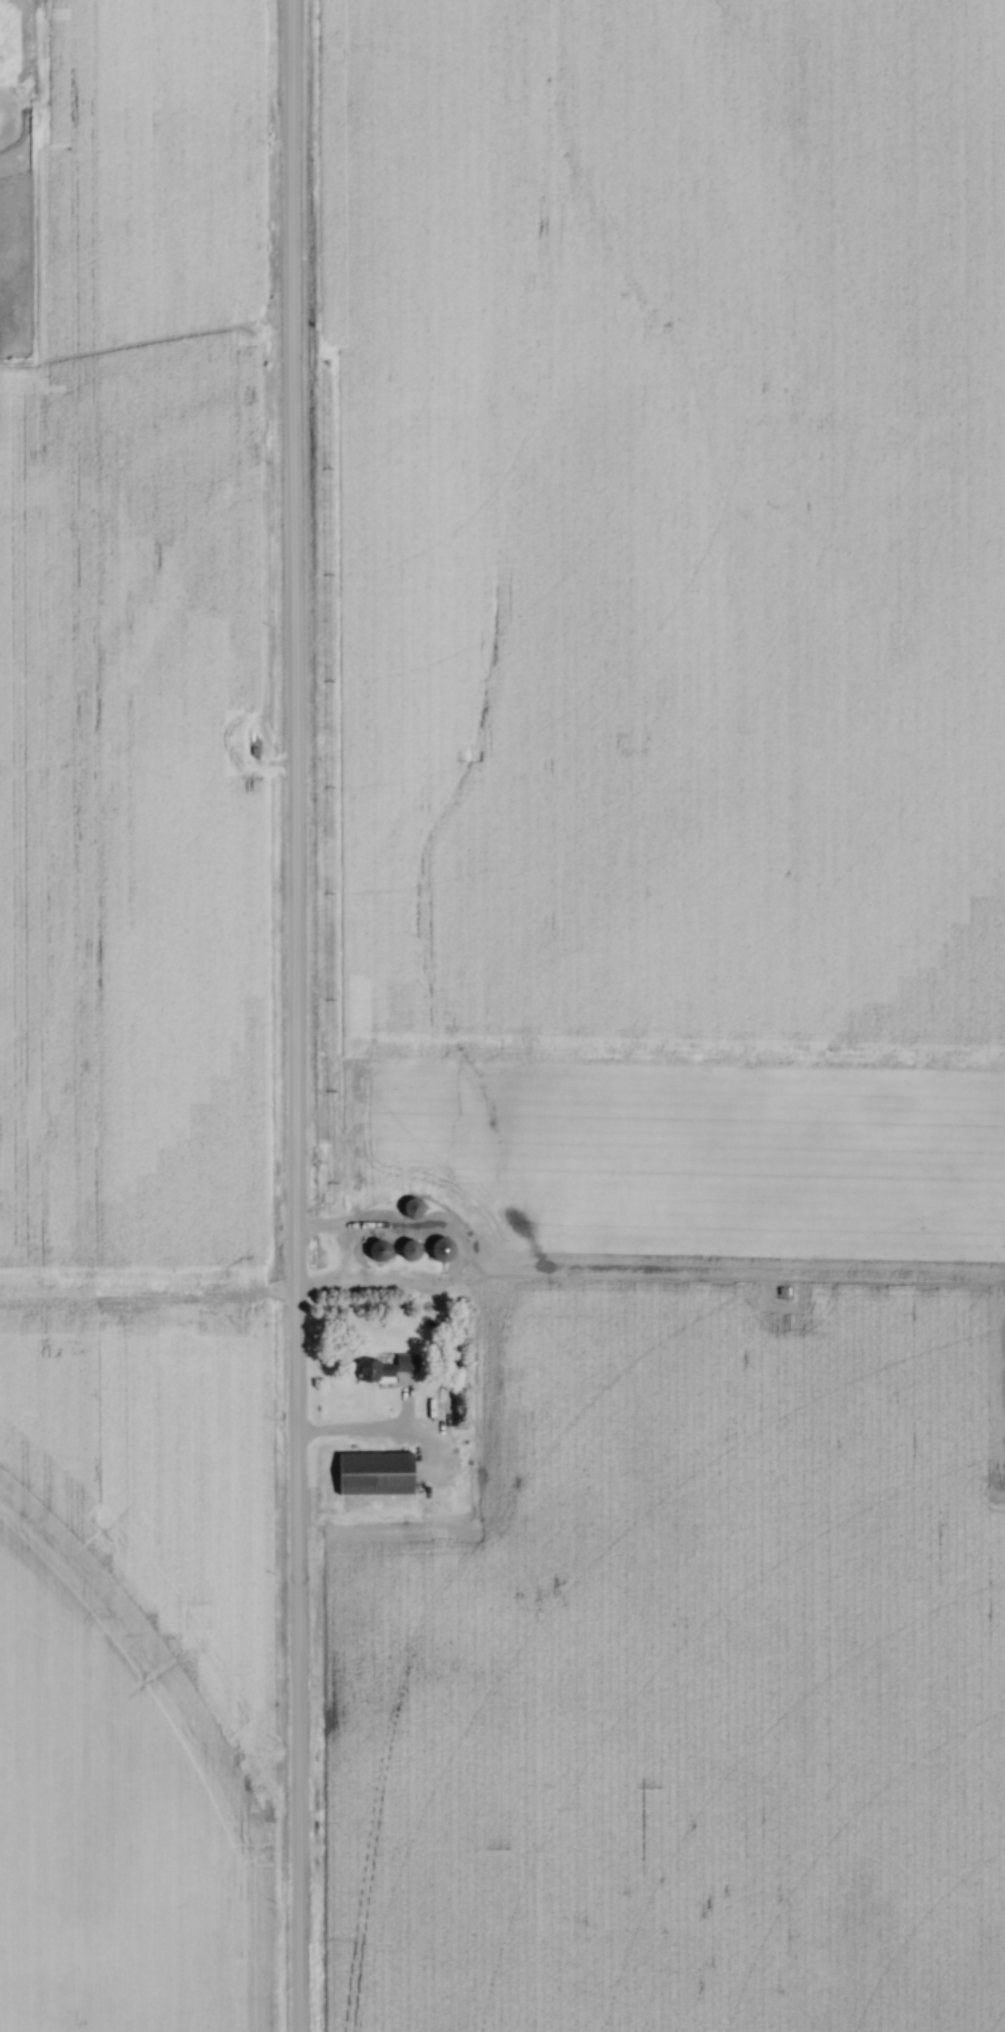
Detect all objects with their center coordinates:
road: (292, 1016)
building: (412, 1207)
building: (410, 1249)
building: (441, 1249)
building: (379, 1250)
building: (384, 1366)
building: (374, 1473)

